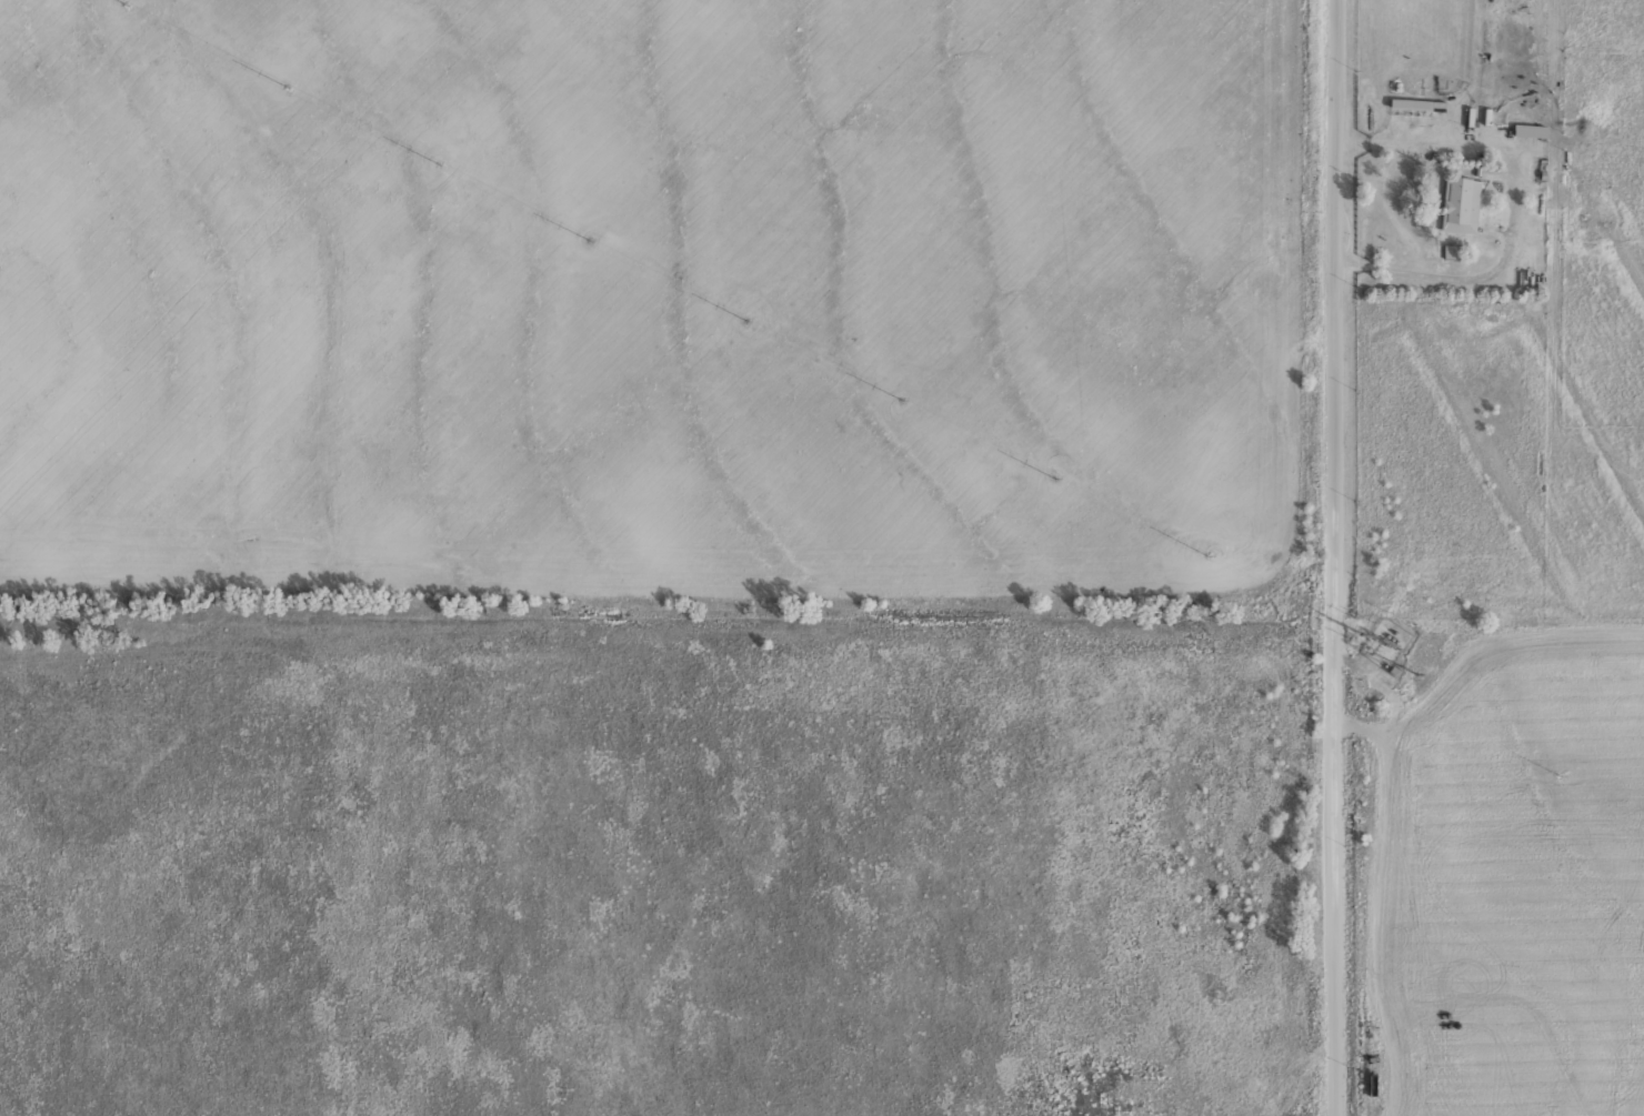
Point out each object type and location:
building: (1461, 199)
road: (1337, 557)
power substation: (1384, 642)

